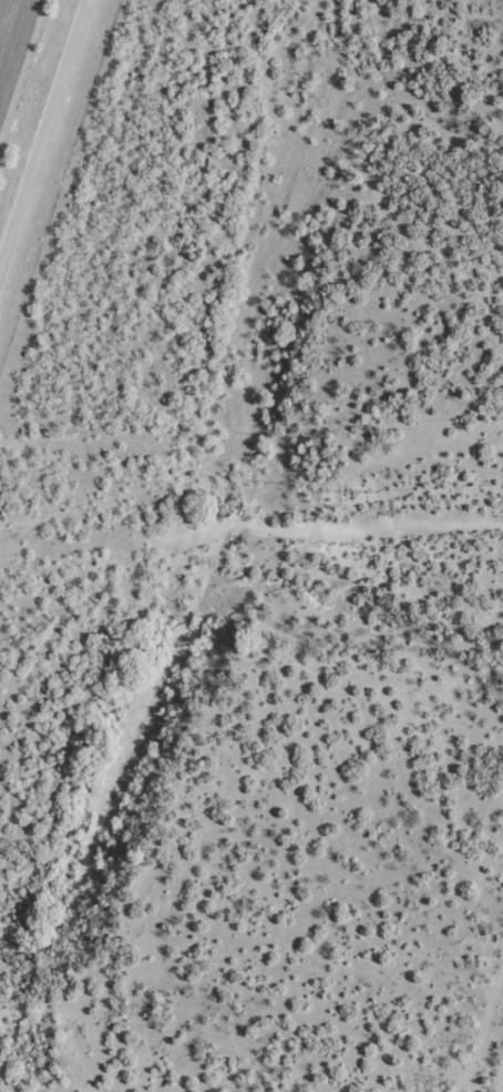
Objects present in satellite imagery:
road: (47, 160)
river: (230, 475)

